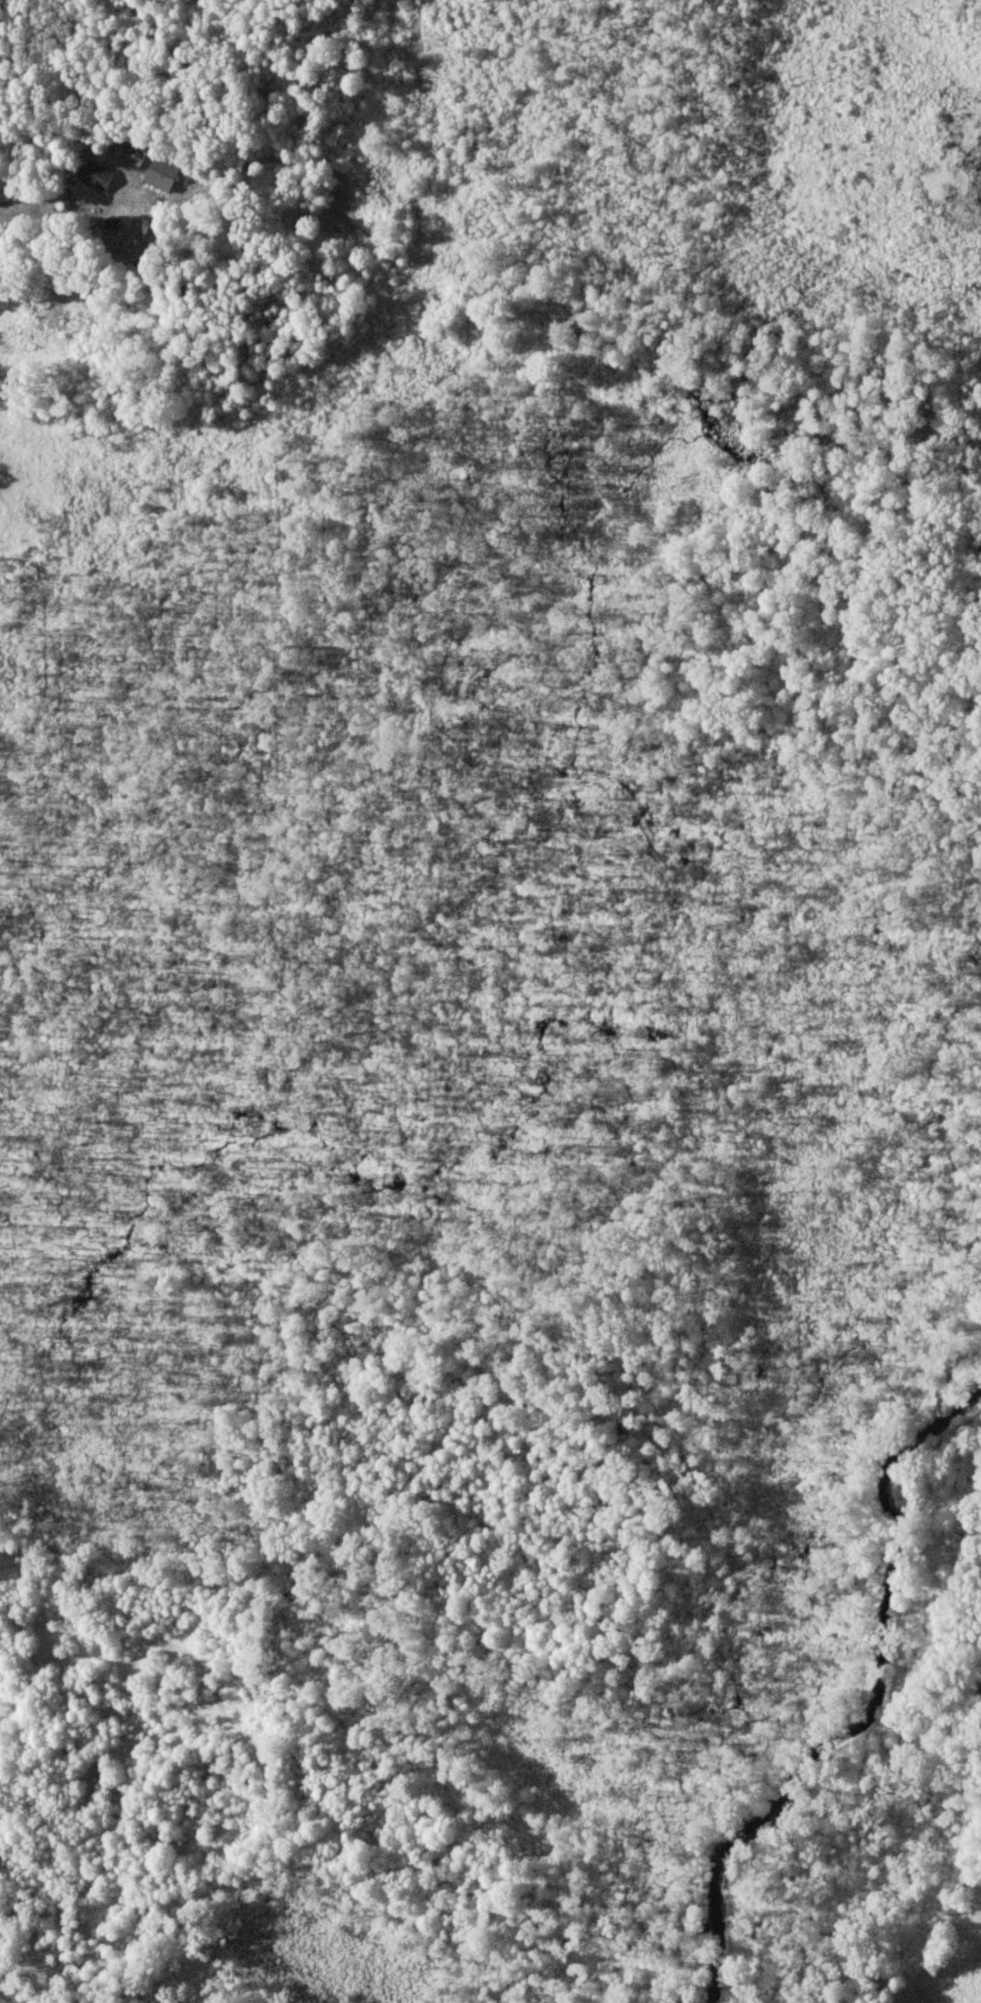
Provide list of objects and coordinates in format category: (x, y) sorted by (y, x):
building: (163, 173)
building: (97, 175)

